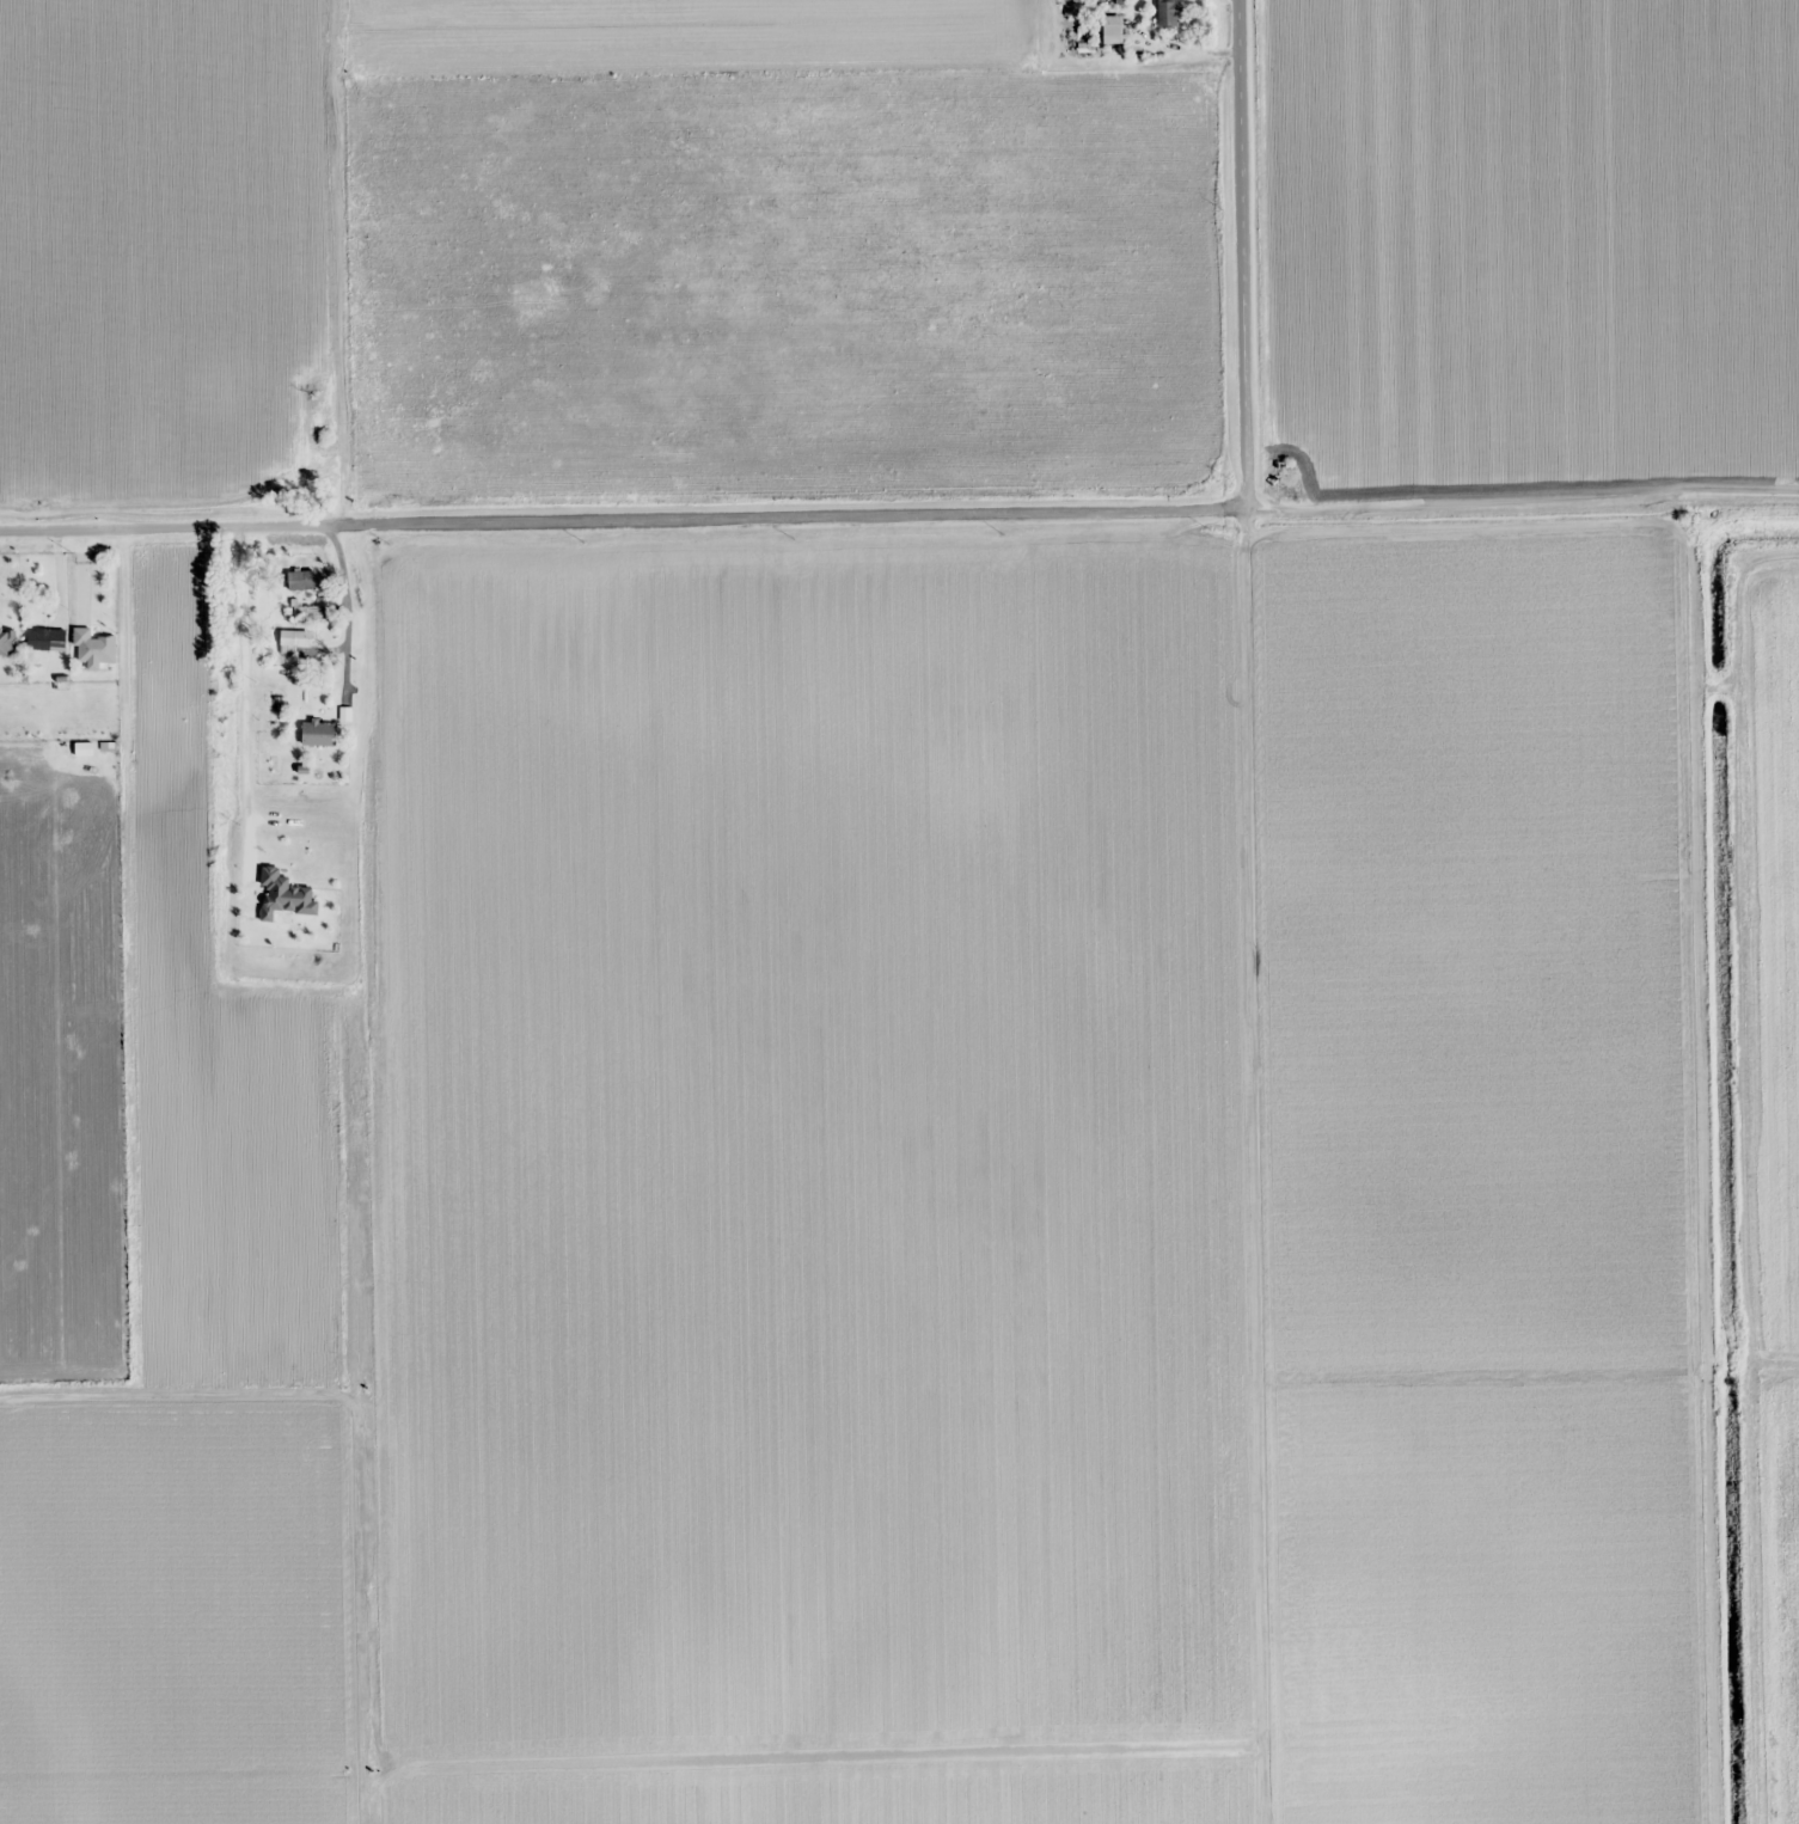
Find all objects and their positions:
building: (1169, 12)
building: (1113, 29)
road: (1231, 259)
road: (899, 520)
building: (302, 580)
building: (47, 641)
building: (296, 641)
building: (8, 642)
building: (94, 648)
building: (329, 735)
building: (284, 896)

